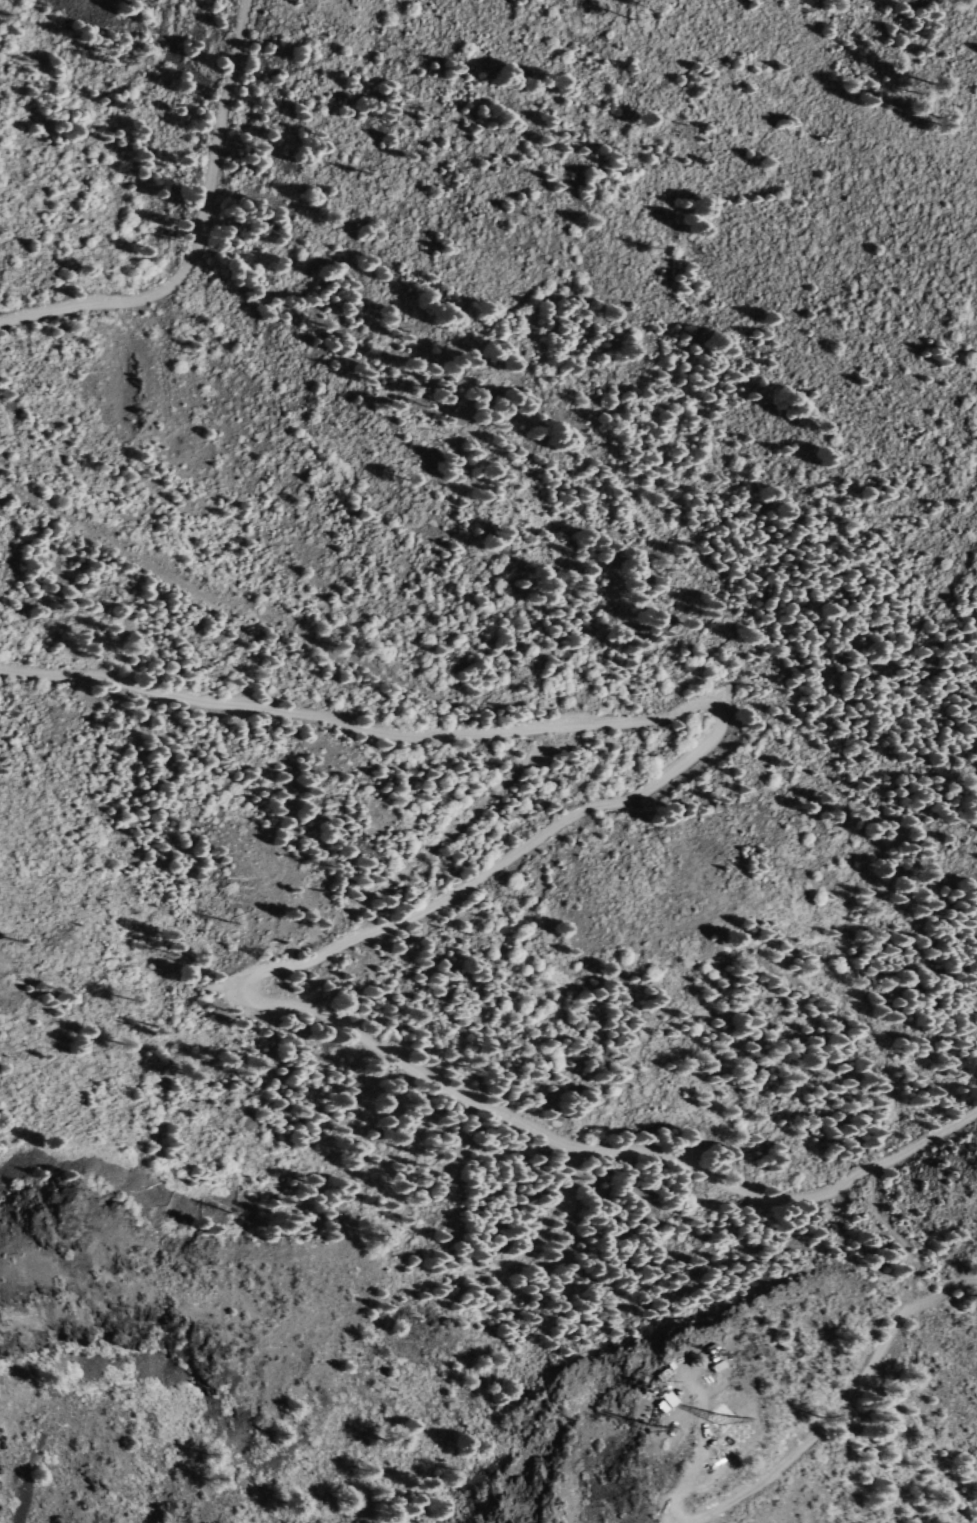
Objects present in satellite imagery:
road: (198, 230)
road: (472, 883)
road: (782, 1459)

